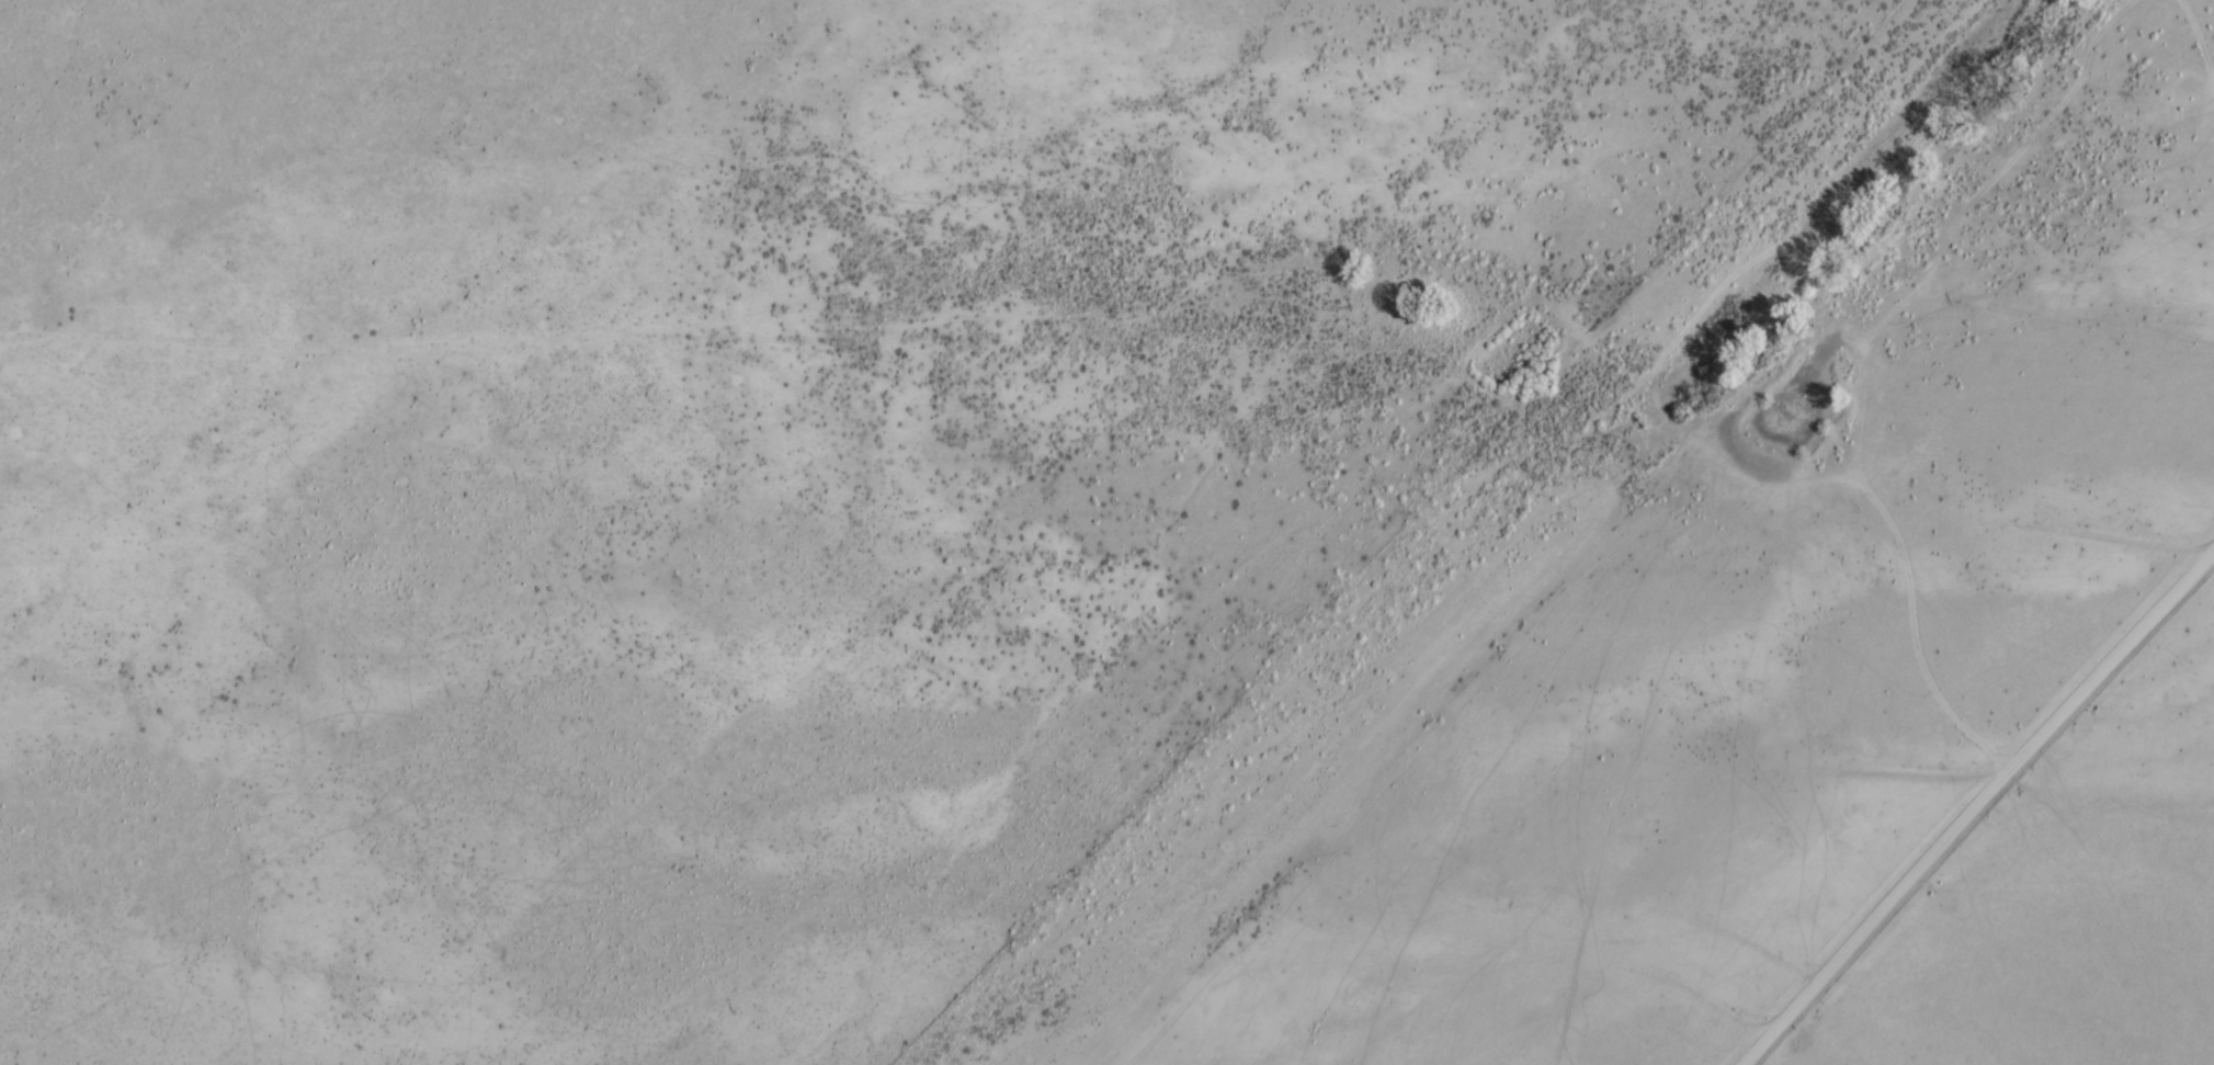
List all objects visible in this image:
road: (1972, 802)

